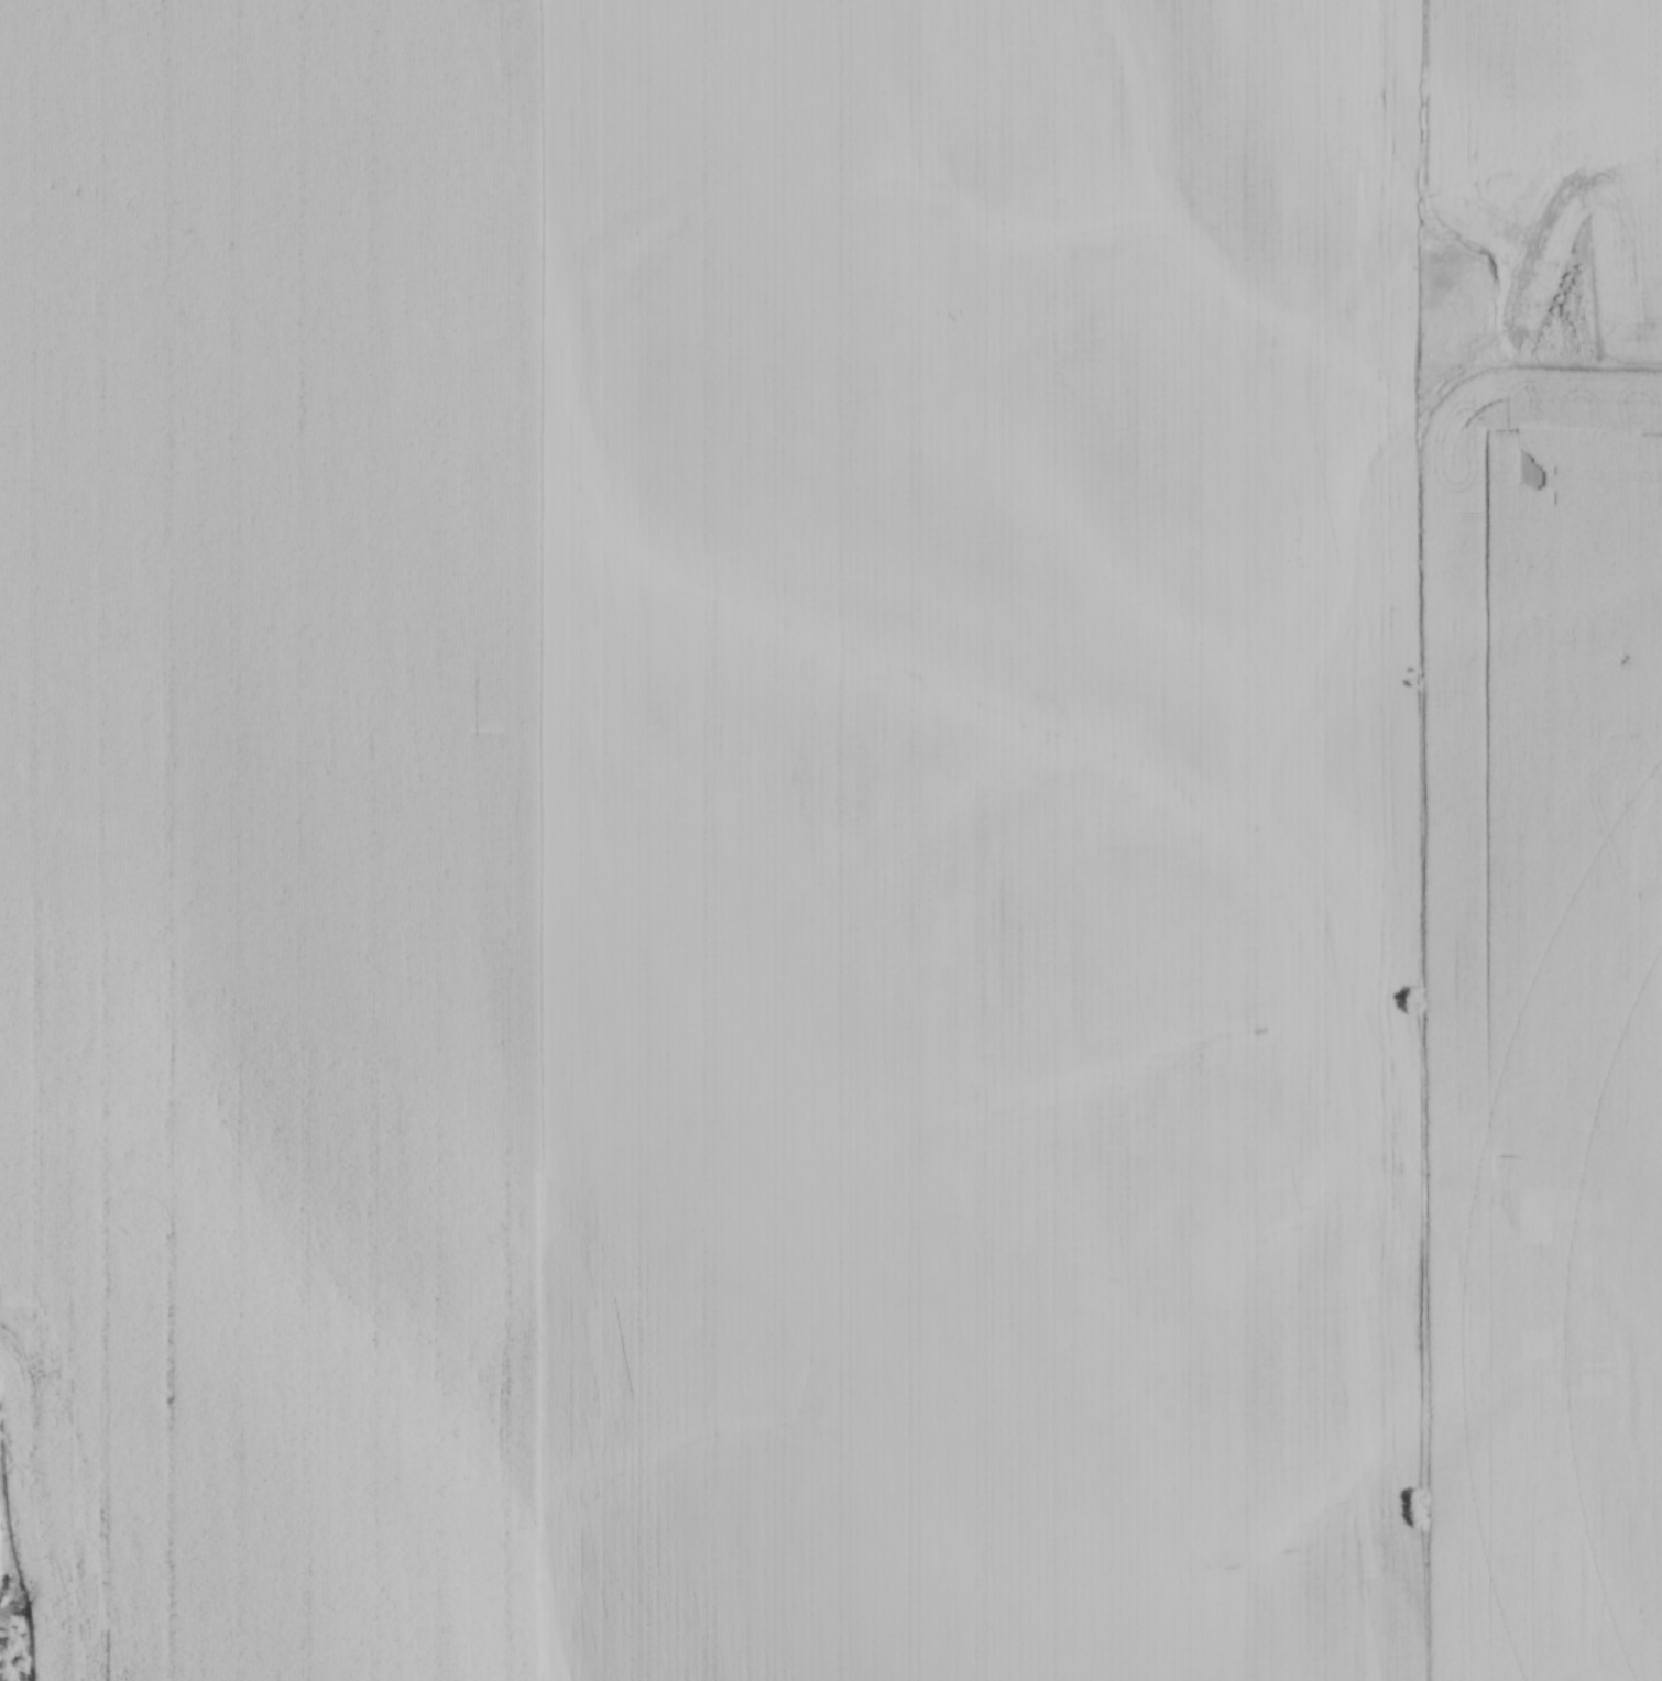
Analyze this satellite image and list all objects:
crop: (265, 800)
building: (3, 1670)

